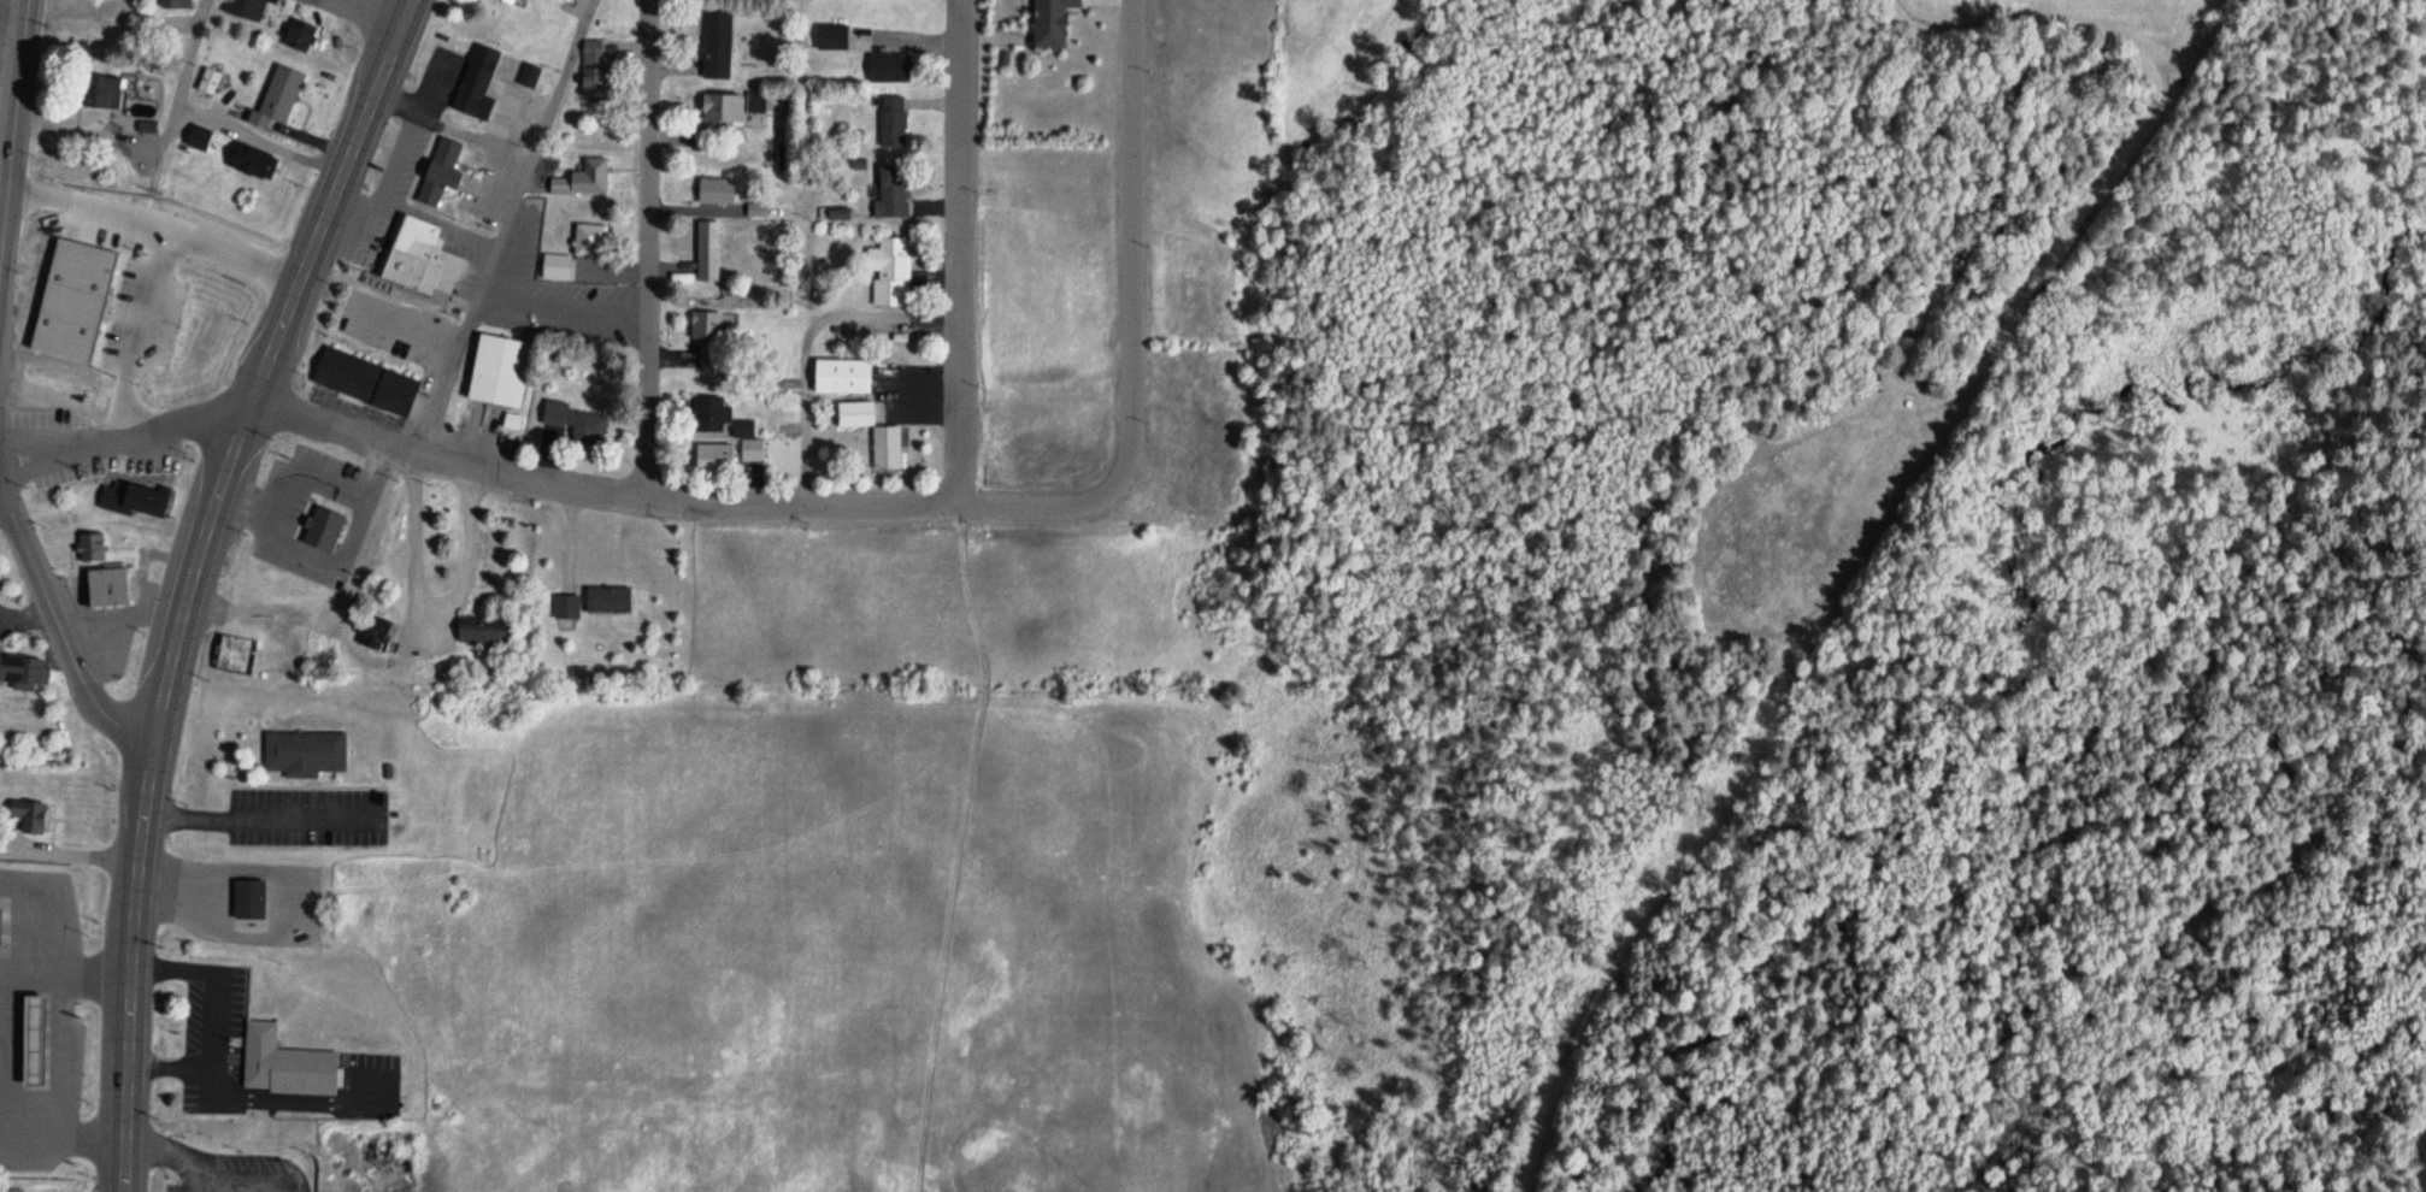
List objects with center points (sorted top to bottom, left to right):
building: (506, 1)
building: (172, 2)
building: (241, 6)
road: (369, 12)
building: (1050, 18)
building: (296, 29)
building: (828, 31)
building: (714, 39)
building: (590, 61)
building: (885, 61)
building: (526, 69)
building: (206, 77)
building: (475, 77)
building: (98, 85)
building: (275, 94)
building: (722, 100)
building: (889, 116)
road: (448, 125)
building: (194, 135)
road: (259, 140)
road: (11, 154)
building: (248, 155)
building: (437, 167)
building: (588, 171)
building: (815, 172)
building: (557, 181)
building: (714, 185)
building: (889, 185)
building: (754, 205)
building: (830, 208)
building: (172, 210)
road: (148, 222)
road: (500, 225)
building: (705, 228)
building: (57, 231)
building: (587, 235)
road: (1133, 236)
building: (117, 237)
building: (228, 237)
road: (646, 250)
road: (955, 252)
building: (420, 254)
road: (223, 260)
building: (554, 262)
building: (888, 267)
building: (815, 291)
road: (401, 324)
building: (705, 331)
road: (800, 340)
building: (57, 361)
building: (497, 365)
building: (841, 368)
building: (364, 376)
building: (853, 407)
building: (707, 408)
building: (570, 417)
building: (508, 419)
building: (738, 424)
building: (884, 442)
building: (748, 447)
building: (711, 453)
road: (1, 474)
road: (555, 483)
building: (131, 494)
building: (88, 541)
building: (107, 578)
road: (193, 579)
building: (605, 595)
building: (561, 602)
building: (329, 604)
building: (487, 619)
building: (371, 626)
road: (59, 627)
building: (232, 651)
building: (22, 665)
building: (300, 747)
building: (27, 810)
road: (260, 819)
building: (247, 892)
road: (0, 964)
road: (20, 968)
road: (63, 986)
building: (34, 1032)
gas station: (34, 1032)
building: (282, 1060)
road: (60, 1137)
road: (199, 1173)
road: (187, 1180)

